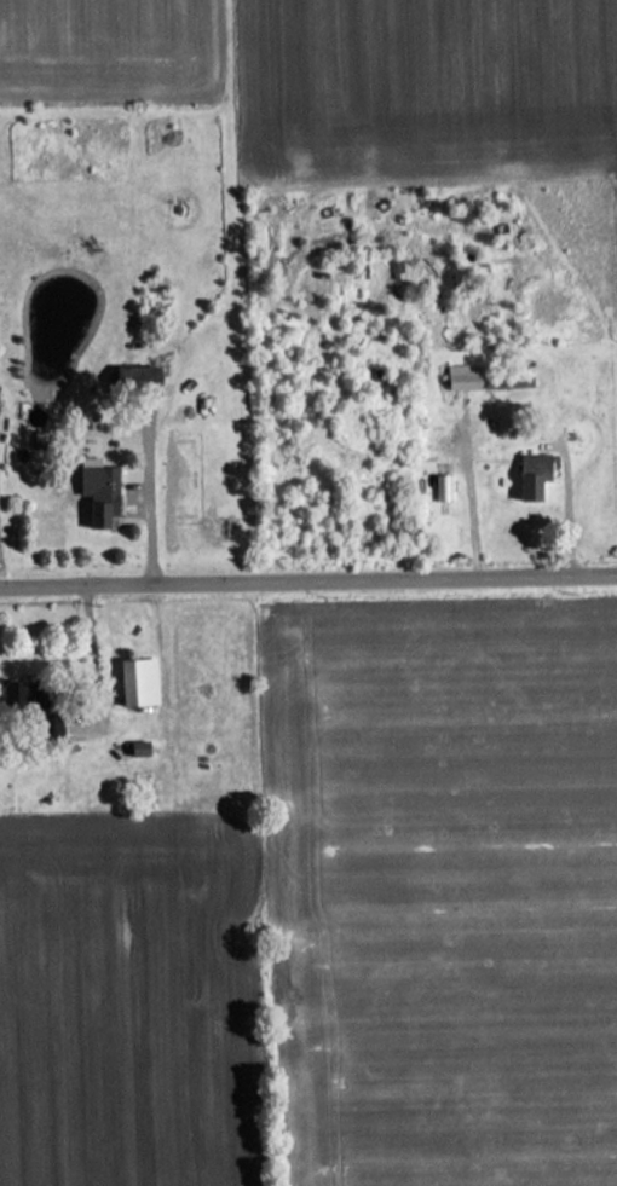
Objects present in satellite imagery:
crop: (108, 48)
crop: (417, 86)
building: (461, 377)
building: (531, 475)
building: (97, 490)
road: (569, 509)
road: (307, 575)
road: (94, 650)
building: (137, 682)
building: (23, 695)
crop: (439, 892)
crop: (131, 1002)

